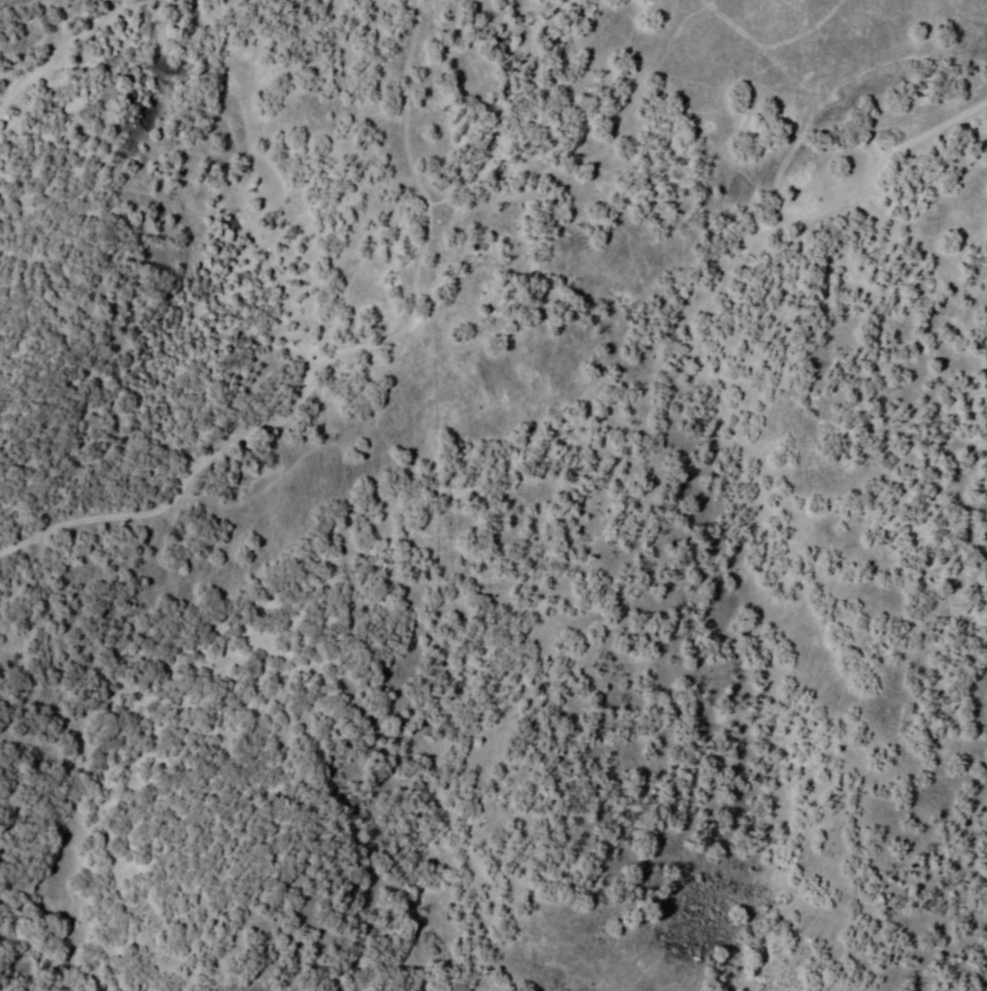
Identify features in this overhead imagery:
building: (845, 164)

